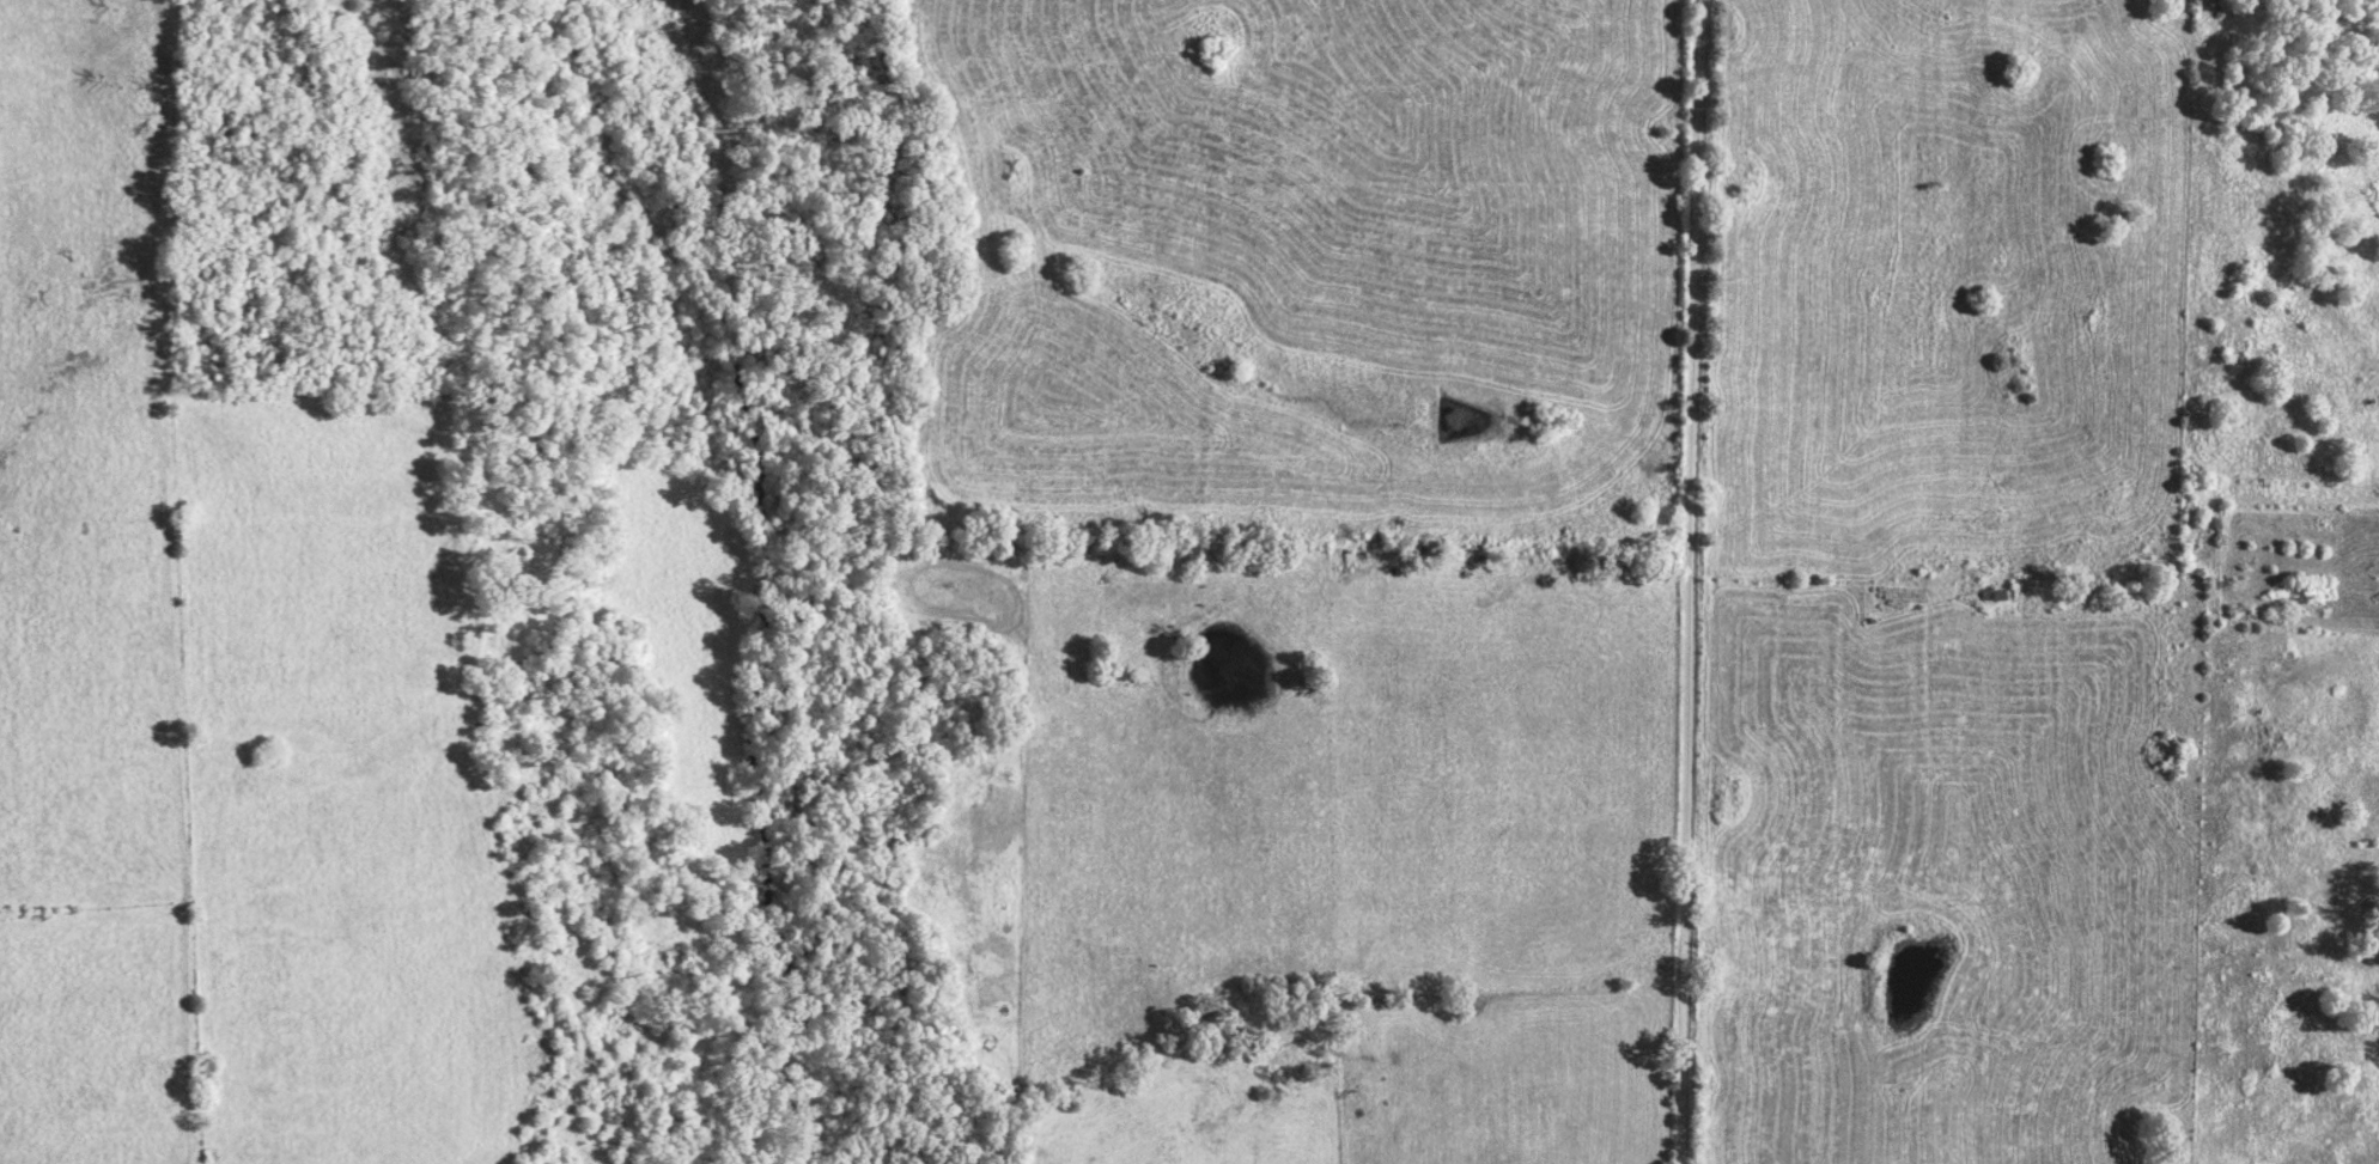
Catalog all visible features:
road: (1687, 581)
building: (1990, 593)

